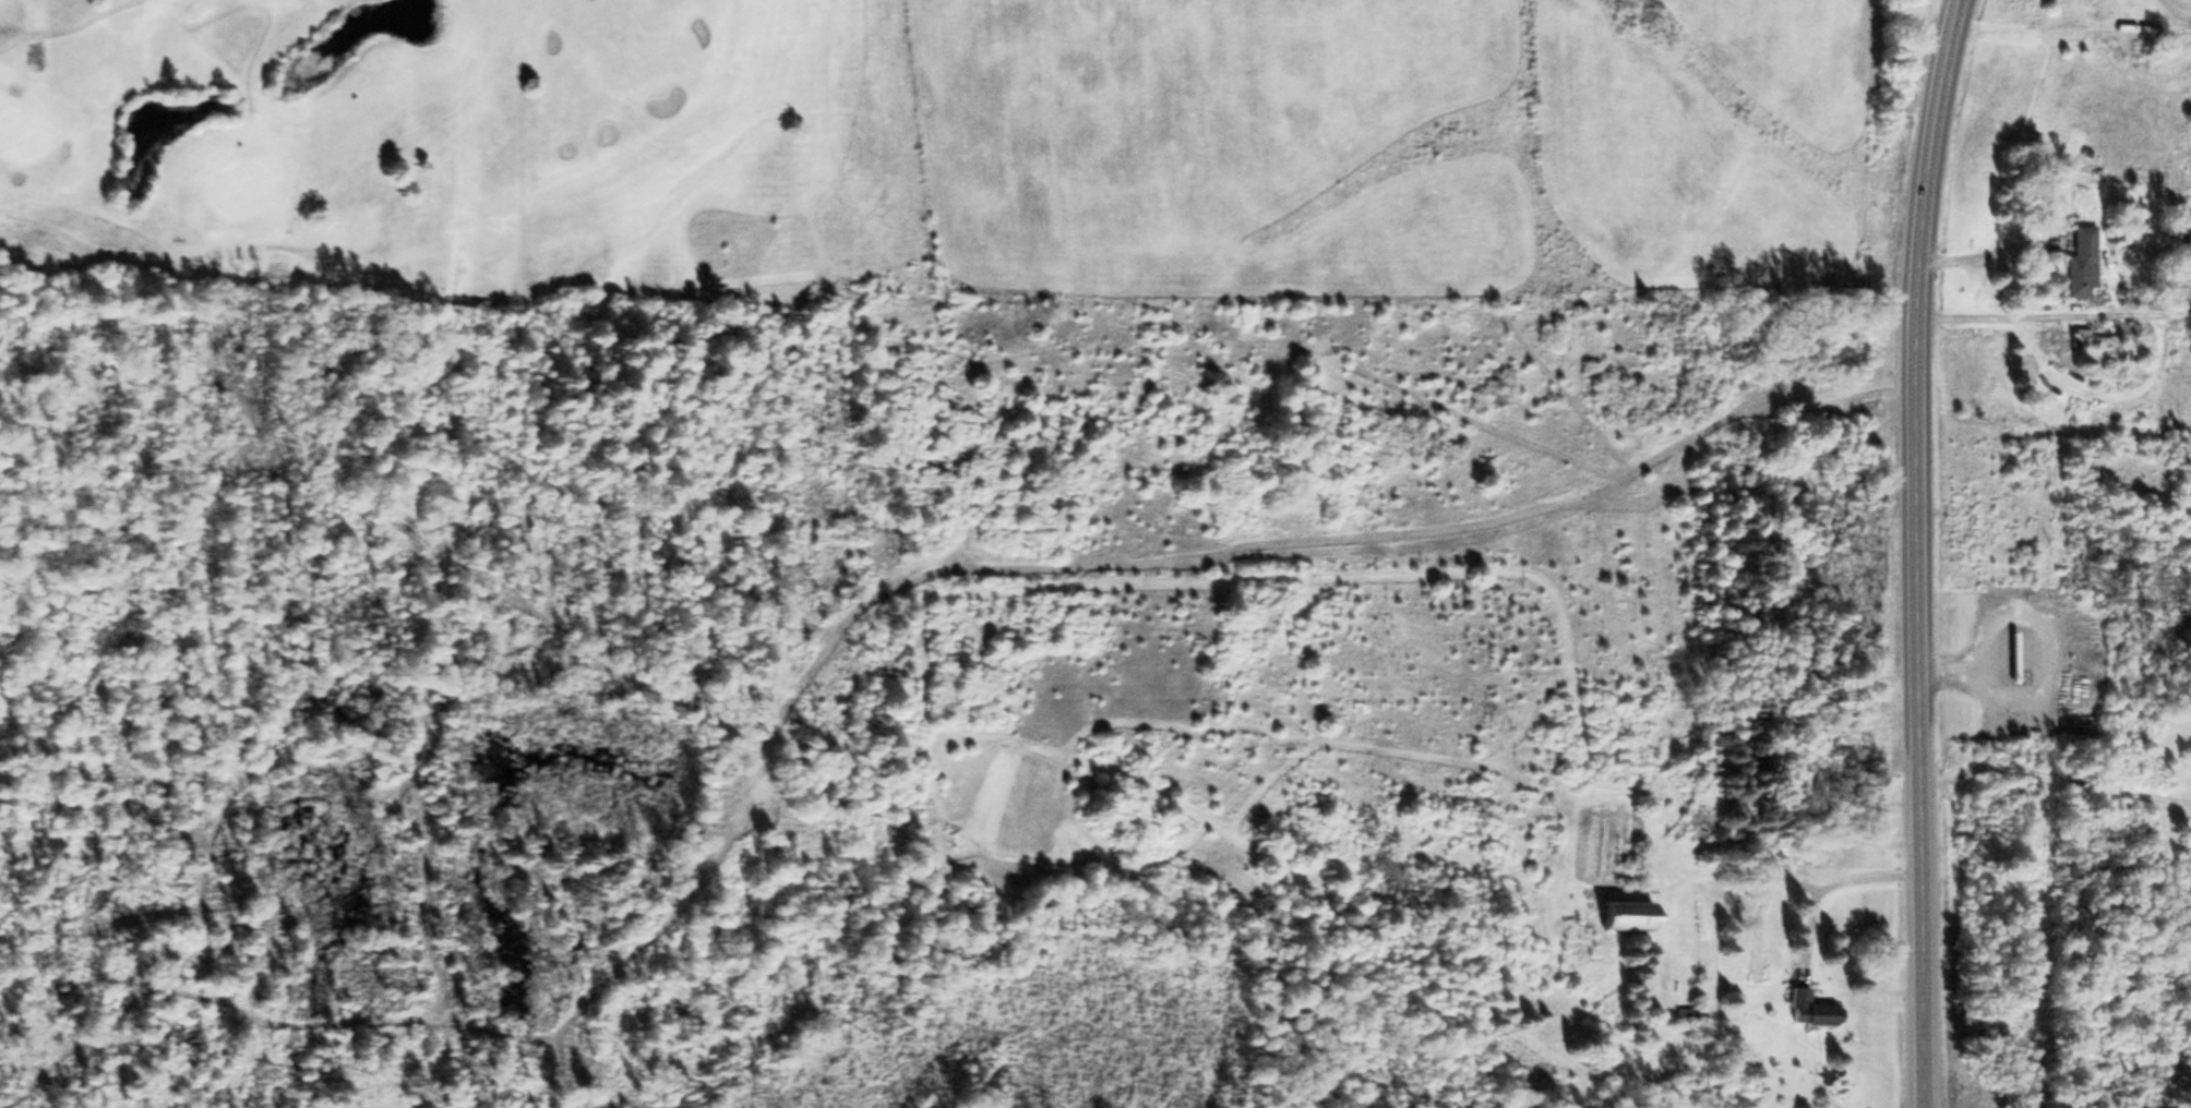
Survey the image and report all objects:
building: (2190, 1)
park: (442, 162)
building: (2189, 238)
building: (2085, 264)
building: (2096, 341)
road: (1916, 552)
building: (1816, 1010)

